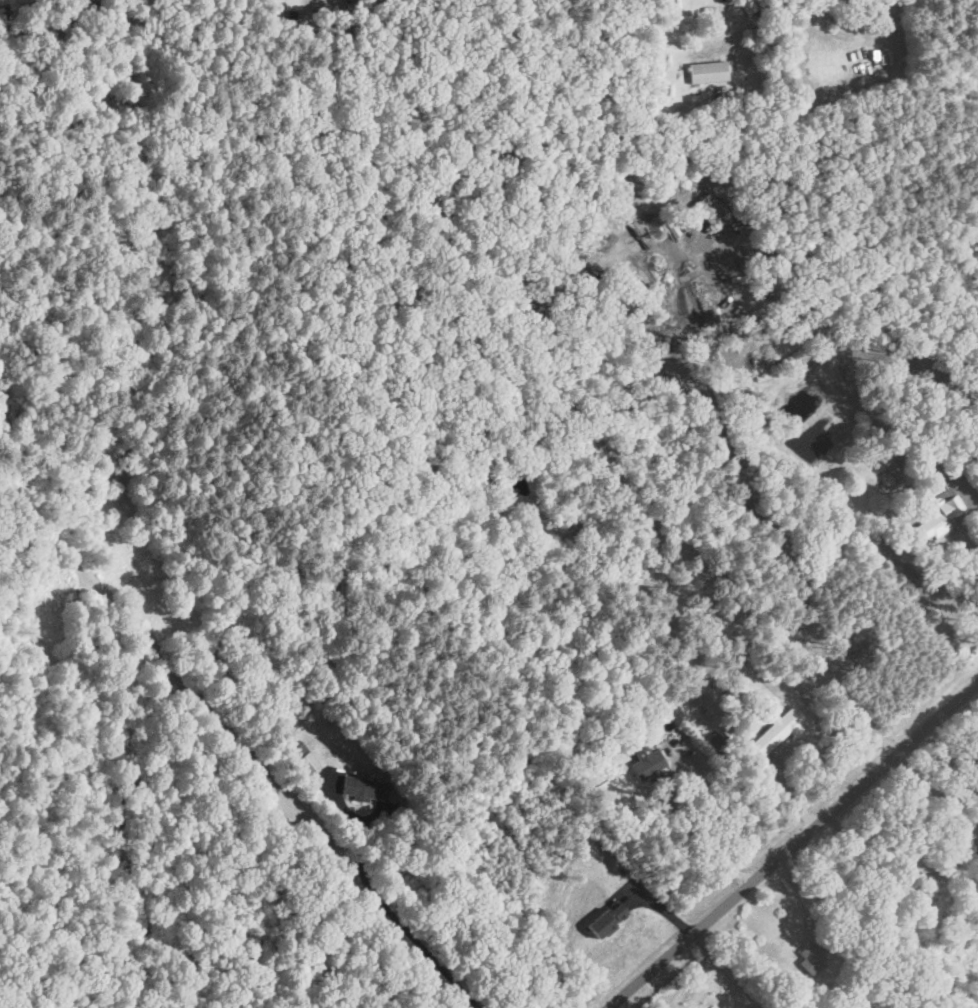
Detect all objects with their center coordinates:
building: (705, 71)
building: (706, 207)
road: (714, 248)
building: (898, 413)
road: (881, 424)
building: (938, 513)
road: (854, 713)
building: (775, 730)
building: (299, 759)
building: (646, 763)
road: (785, 785)
building: (363, 788)
road: (934, 793)
road: (689, 829)
road: (792, 842)
building: (905, 888)
road: (399, 924)
building: (814, 954)
road: (720, 970)

